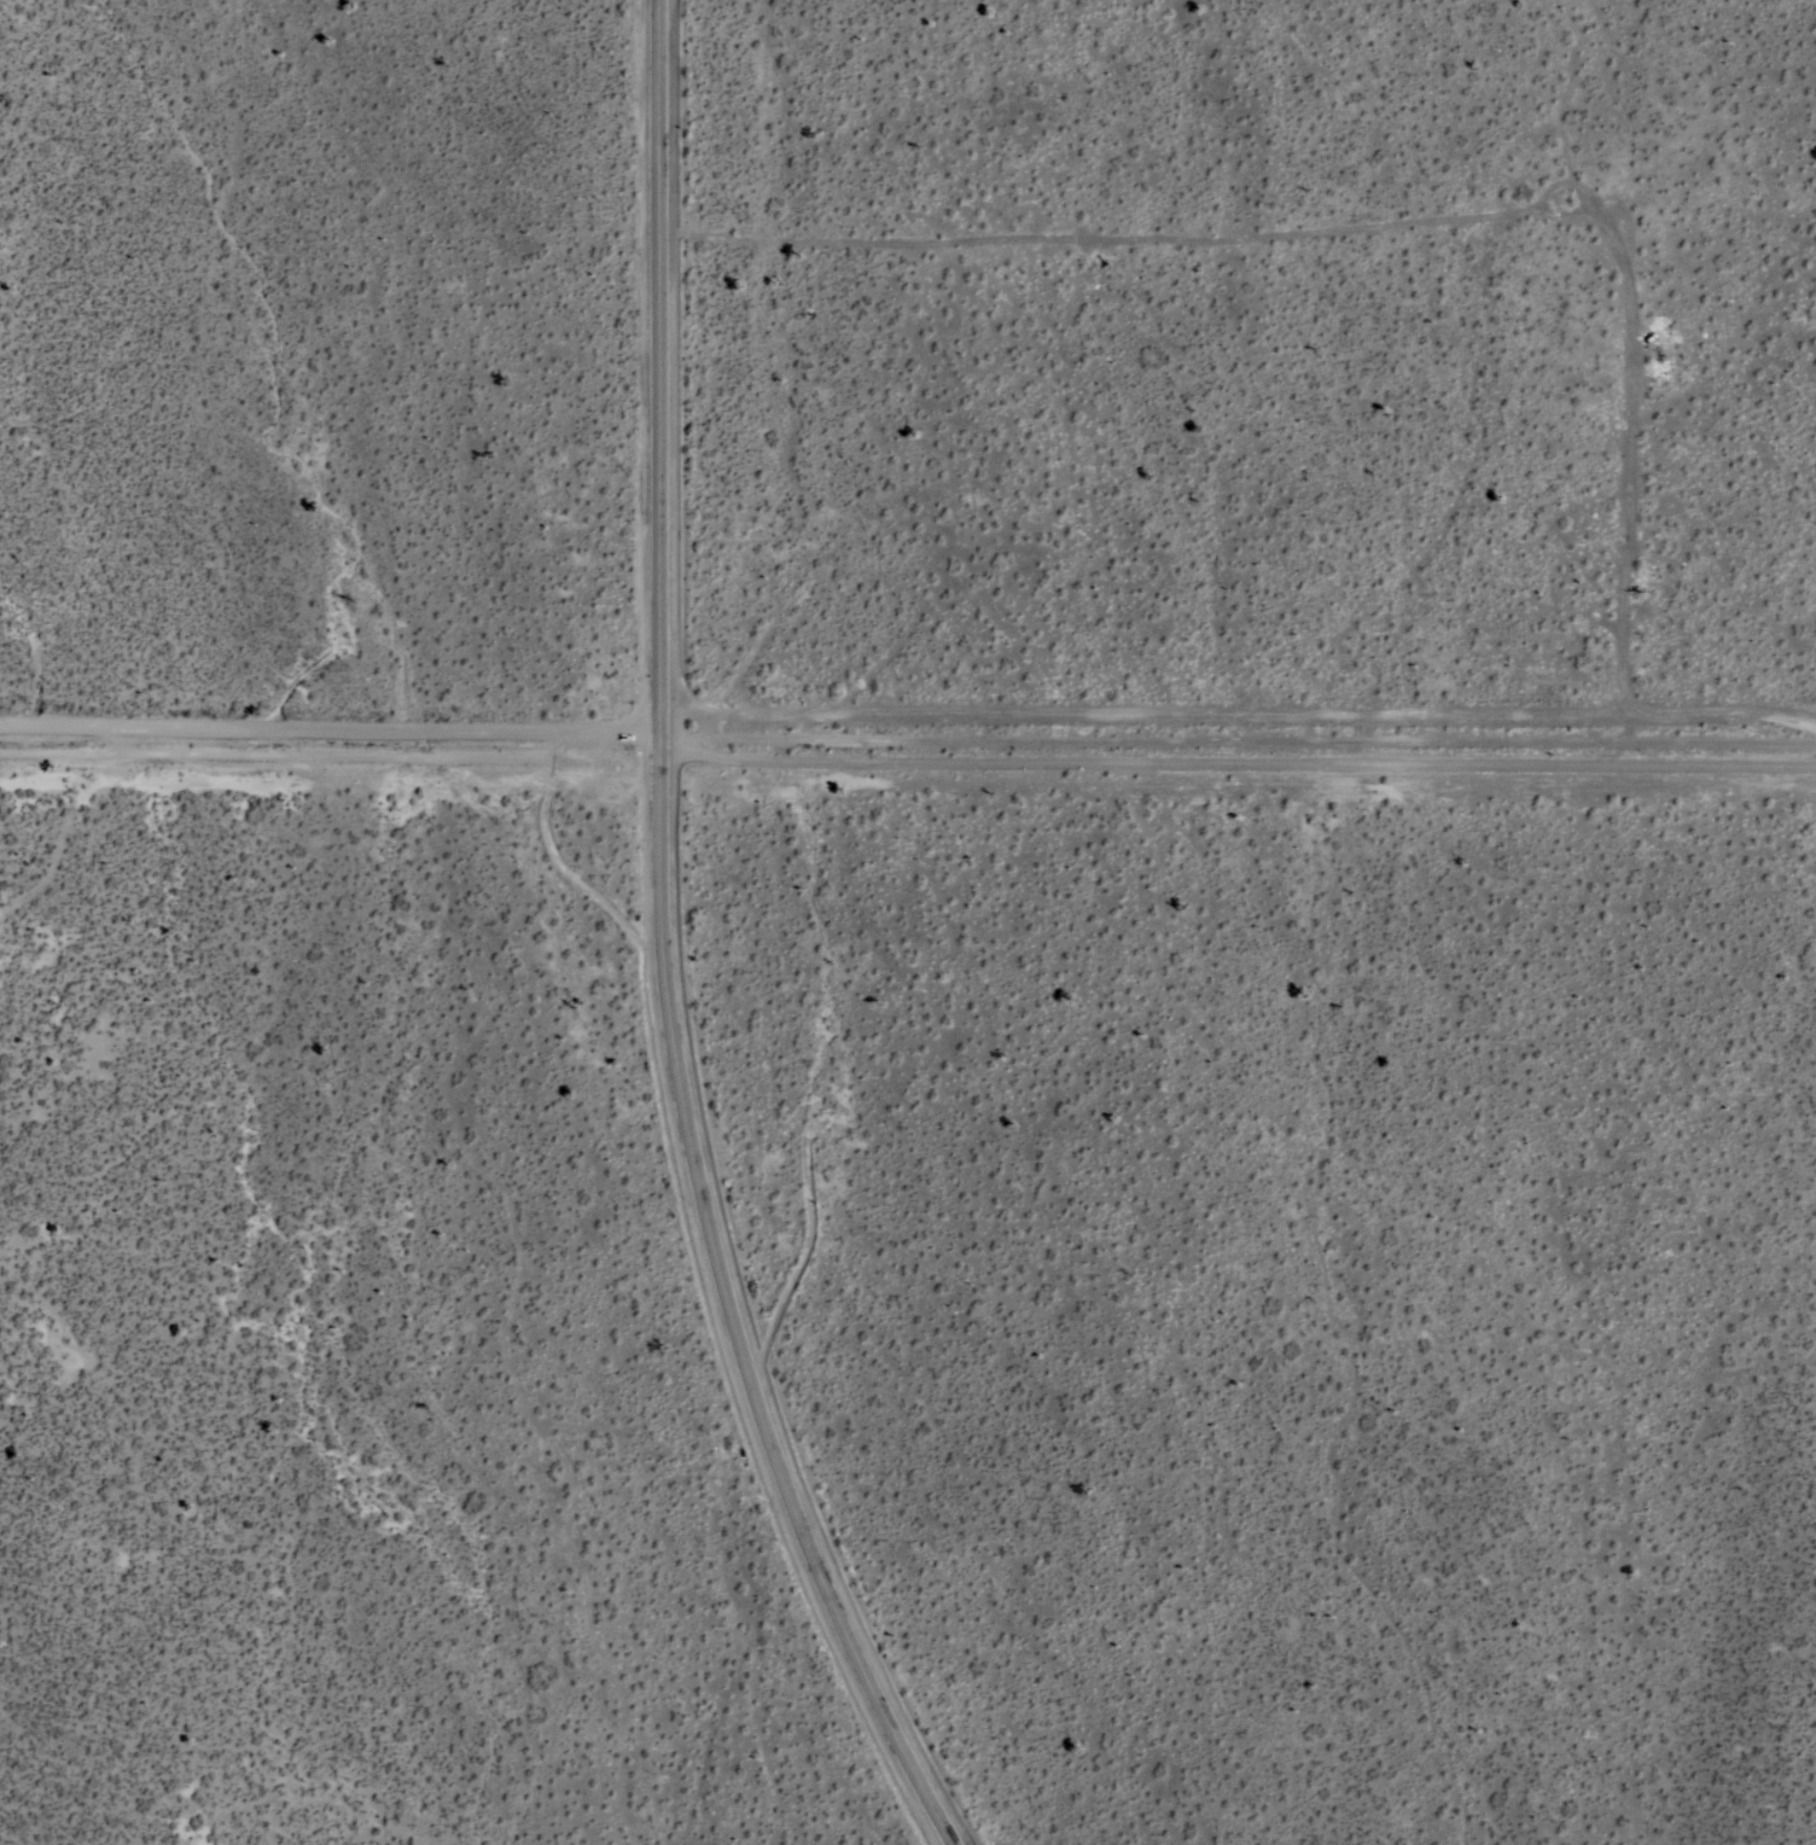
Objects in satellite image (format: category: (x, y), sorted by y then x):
road: (1384, 223)
road: (1236, 714)
road: (328, 737)
road: (1236, 753)
road: (657, 949)

